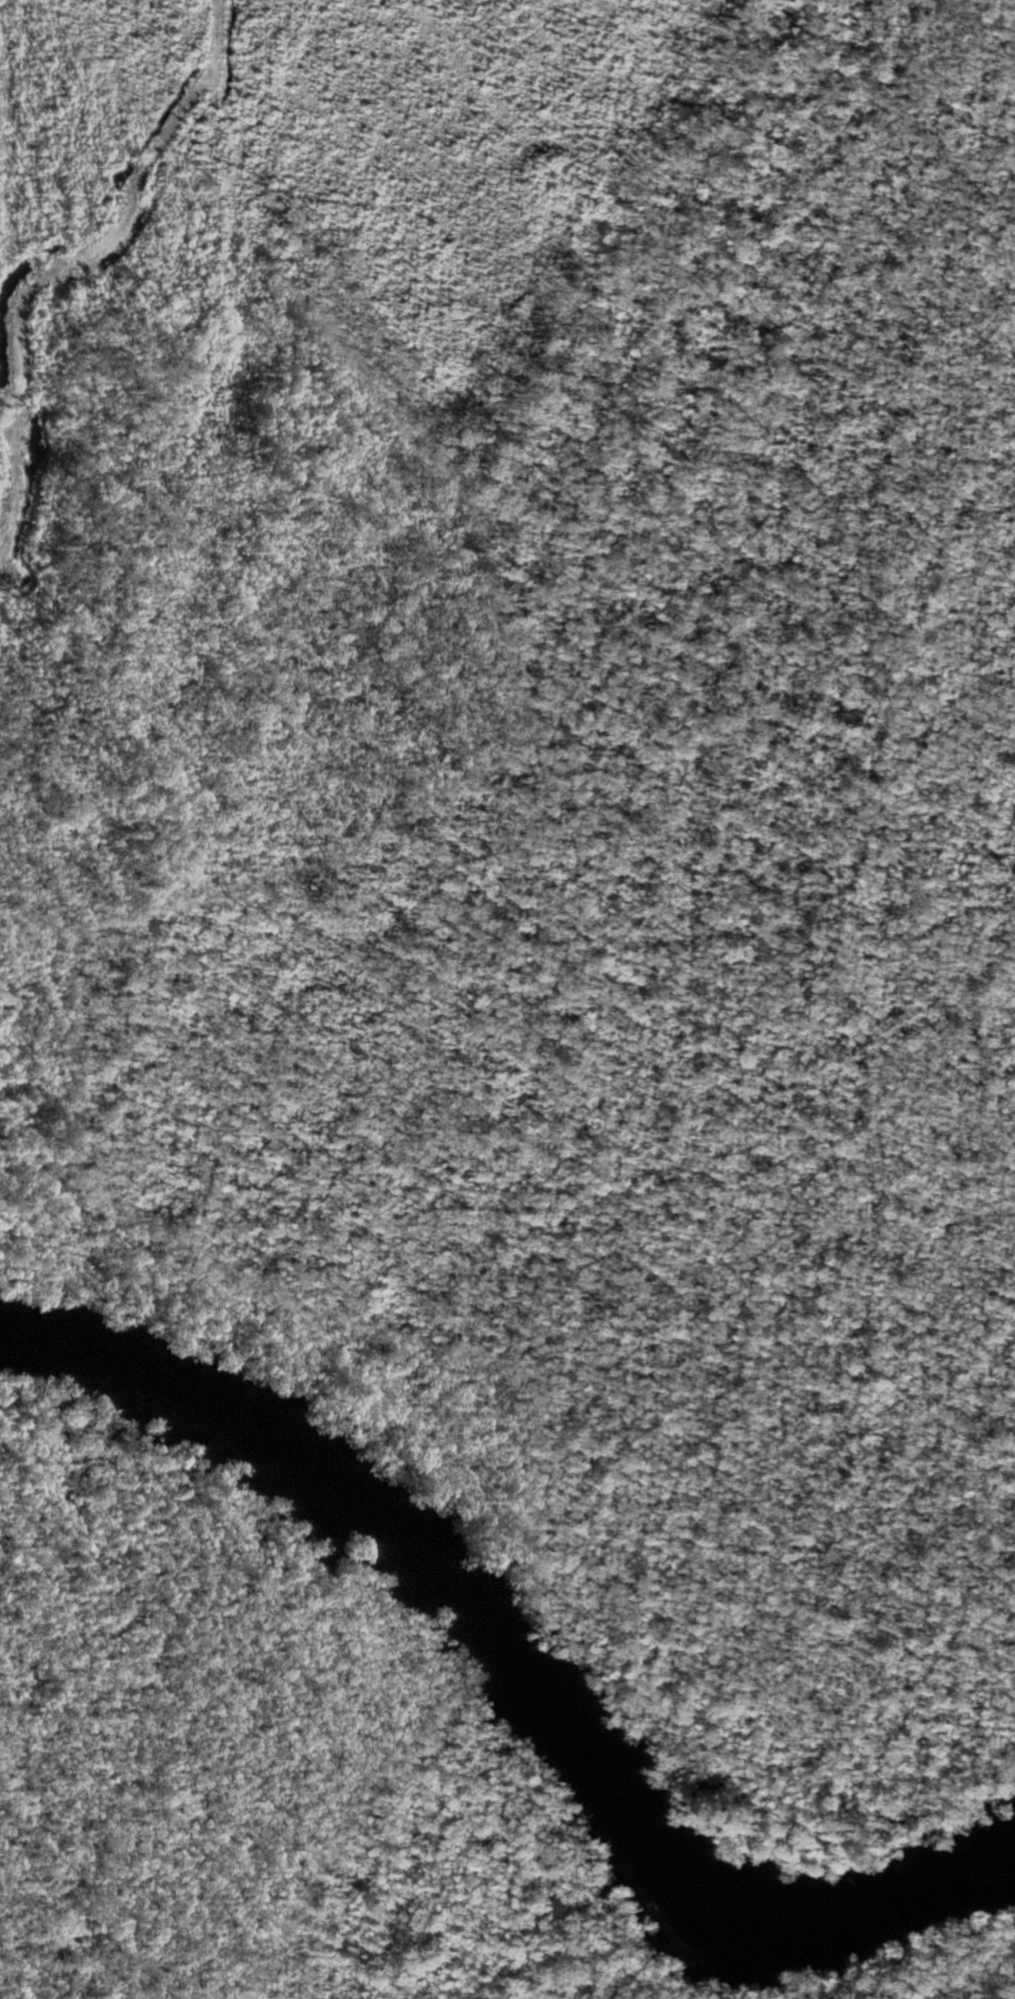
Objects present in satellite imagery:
river: (514, 1681)

